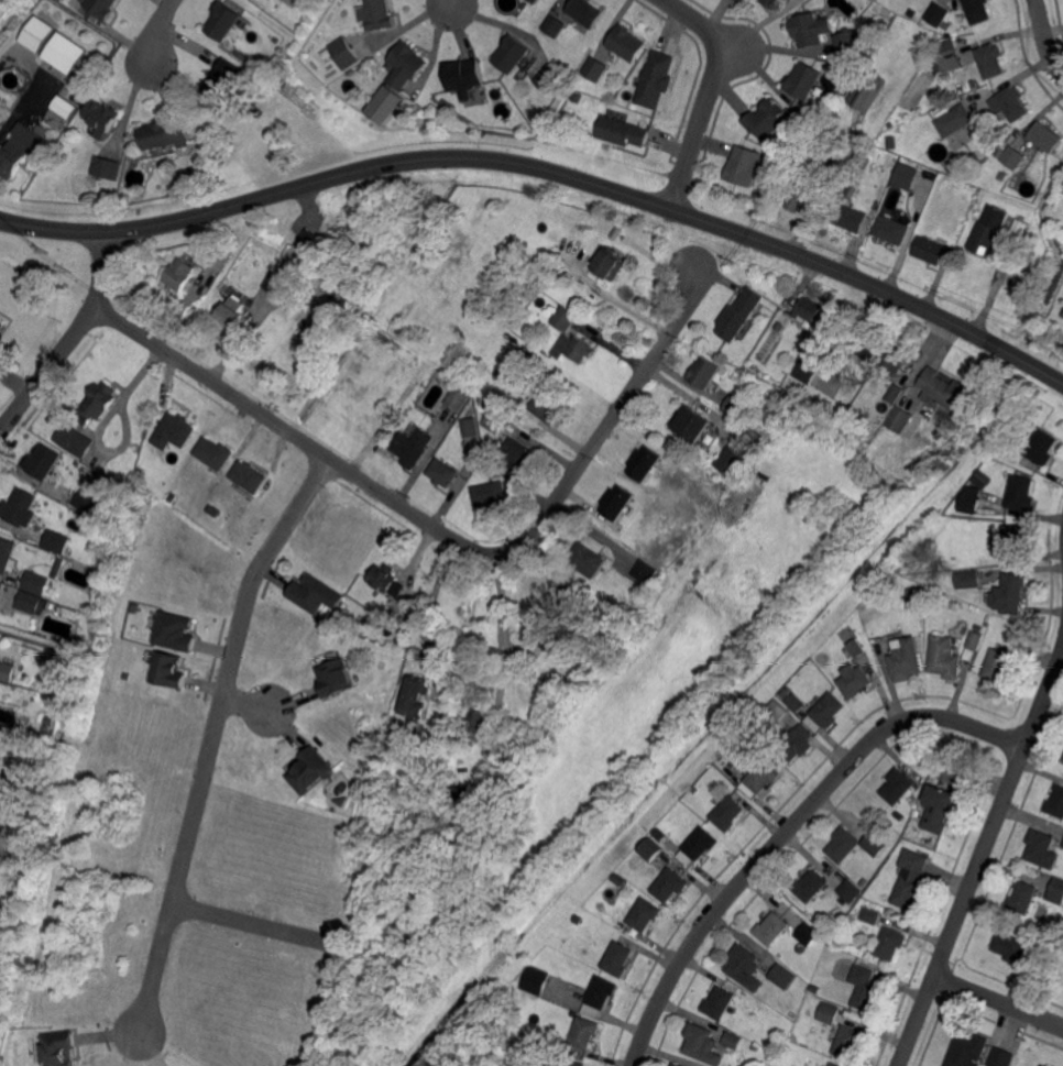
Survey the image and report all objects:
building: (772, 2)
building: (295, 3)
road: (453, 3)
building: (101, 7)
building: (585, 11)
building: (977, 11)
building: (376, 13)
building: (936, 13)
building: (222, 19)
building: (554, 26)
building: (810, 29)
building: (881, 31)
building: (36, 33)
road: (152, 35)
building: (853, 41)
road: (1044, 41)
building: (626, 44)
building: (343, 52)
building: (511, 53)
building: (66, 54)
building: (326, 54)
building: (947, 58)
building: (990, 59)
building: (406, 64)
building: (595, 68)
building: (463, 75)
building: (548, 77)
building: (224, 79)
building: (657, 79)
building: (804, 80)
building: (973, 84)
building: (867, 91)
road: (709, 92)
building: (576, 96)
building: (384, 103)
building: (1010, 103)
building: (64, 105)
building: (529, 105)
building: (485, 107)
road: (19, 109)
building: (103, 114)
building: (767, 118)
building: (814, 119)
building: (954, 120)
building: (520, 122)
building: (0, 124)
building: (1, 127)
building: (623, 131)
building: (164, 132)
building: (1045, 136)
building: (17, 156)
building: (1013, 156)
building: (975, 160)
building: (834, 162)
building: (866, 162)
building: (744, 165)
building: (106, 166)
road: (547, 167)
building: (905, 175)
building: (1002, 175)
building: (766, 187)
building: (850, 188)
road: (820, 189)
building: (801, 190)
building: (108, 197)
building: (123, 200)
building: (852, 220)
building: (891, 230)
building: (988, 231)
building: (615, 232)
building: (311, 234)
building: (930, 250)
building: (220, 256)
building: (286, 263)
building: (609, 264)
building: (177, 276)
building: (274, 282)
building: (235, 292)
road: (615, 300)
building: (807, 309)
building: (233, 314)
building: (738, 314)
building: (1062, 315)
building: (565, 318)
building: (1, 325)
building: (779, 327)
road: (72, 337)
building: (869, 345)
building: (573, 348)
building: (897, 359)
building: (703, 371)
building: (806, 371)
building: (895, 393)
building: (944, 398)
building: (457, 399)
building: (98, 402)
building: (549, 403)
building: (734, 405)
building: (771, 406)
building: (900, 419)
building: (494, 420)
building: (692, 422)
building: (470, 427)
building: (174, 432)
building: (1008, 432)
building: (74, 439)
building: (851, 443)
building: (875, 443)
building: (1042, 447)
building: (412, 448)
building: (213, 454)
building: (517, 454)
building: (730, 461)
building: (640, 462)
building: (41, 463)
building: (489, 466)
building: (443, 472)
building: (140, 474)
building: (984, 476)
building: (248, 477)
building: (978, 481)
building: (491, 493)
building: (1022, 493)
building: (172, 497)
building: (969, 499)
building: (86, 501)
building: (615, 501)
building: (20, 507)
building: (210, 508)
building: (98, 509)
road: (443, 534)
building: (1012, 540)
building: (57, 541)
building: (8, 554)
building: (588, 554)
building: (58, 567)
building: (642, 575)
building: (967, 580)
building: (387, 581)
building: (36, 582)
building: (899, 586)
building: (50, 590)
building: (0, 591)
road: (438, 592)
building: (1011, 594)
building: (315, 595)
building: (914, 597)
building: (32, 601)
building: (135, 608)
building: (559, 609)
building: (979, 628)
building: (175, 633)
building: (976, 641)
building: (856, 648)
building: (907, 658)
building: (945, 659)
building: (999, 664)
building: (8, 670)
building: (168, 670)
building: (128, 677)
building: (336, 679)
building: (854, 681)
building: (783, 692)
building: (414, 700)
building: (776, 702)
building: (796, 702)
road: (251, 703)
building: (825, 712)
building: (48, 721)
building: (474, 722)
road: (208, 734)
building: (441, 737)
building: (745, 737)
building: (796, 744)
building: (314, 768)
building: (952, 768)
building: (760, 779)
building: (898, 785)
building: (695, 789)
building: (457, 794)
building: (1056, 802)
building: (939, 810)
building: (17, 811)
building: (727, 813)
building: (899, 816)
building: (687, 817)
road: (789, 828)
building: (691, 829)
building: (702, 843)
building: (1062, 844)
building: (843, 845)
building: (875, 845)
building: (1042, 848)
building: (651, 849)
road: (979, 859)
building: (911, 878)
building: (618, 879)
building: (864, 880)
building: (670, 884)
building: (810, 886)
building: (850, 891)
building: (1055, 892)
building: (1022, 897)
building: (645, 914)
building: (870, 916)
building: (578, 920)
road: (242, 924)
building: (771, 928)
building: (808, 934)
building: (1032, 938)
building: (834, 941)
building: (891, 942)
building: (1009, 947)
building: (779, 954)
building: (618, 959)
building: (745, 967)
building: (782, 976)
building: (536, 980)
building: (865, 989)
building: (815, 990)
building: (601, 997)
road: (998, 1001)
building: (719, 1002)
building: (791, 1011)
building: (829, 1012)
building: (585, 1032)
building: (536, 1038)
building: (733, 1038)
building: (847, 1043)
building: (703, 1044)
building: (756, 1045)
building: (59, 1048)
building: (967, 1051)
building: (1000, 1057)
building: (574, 1063)
building: (676, 1064)
building: (833, 1065)
building: (1044, 1065)

